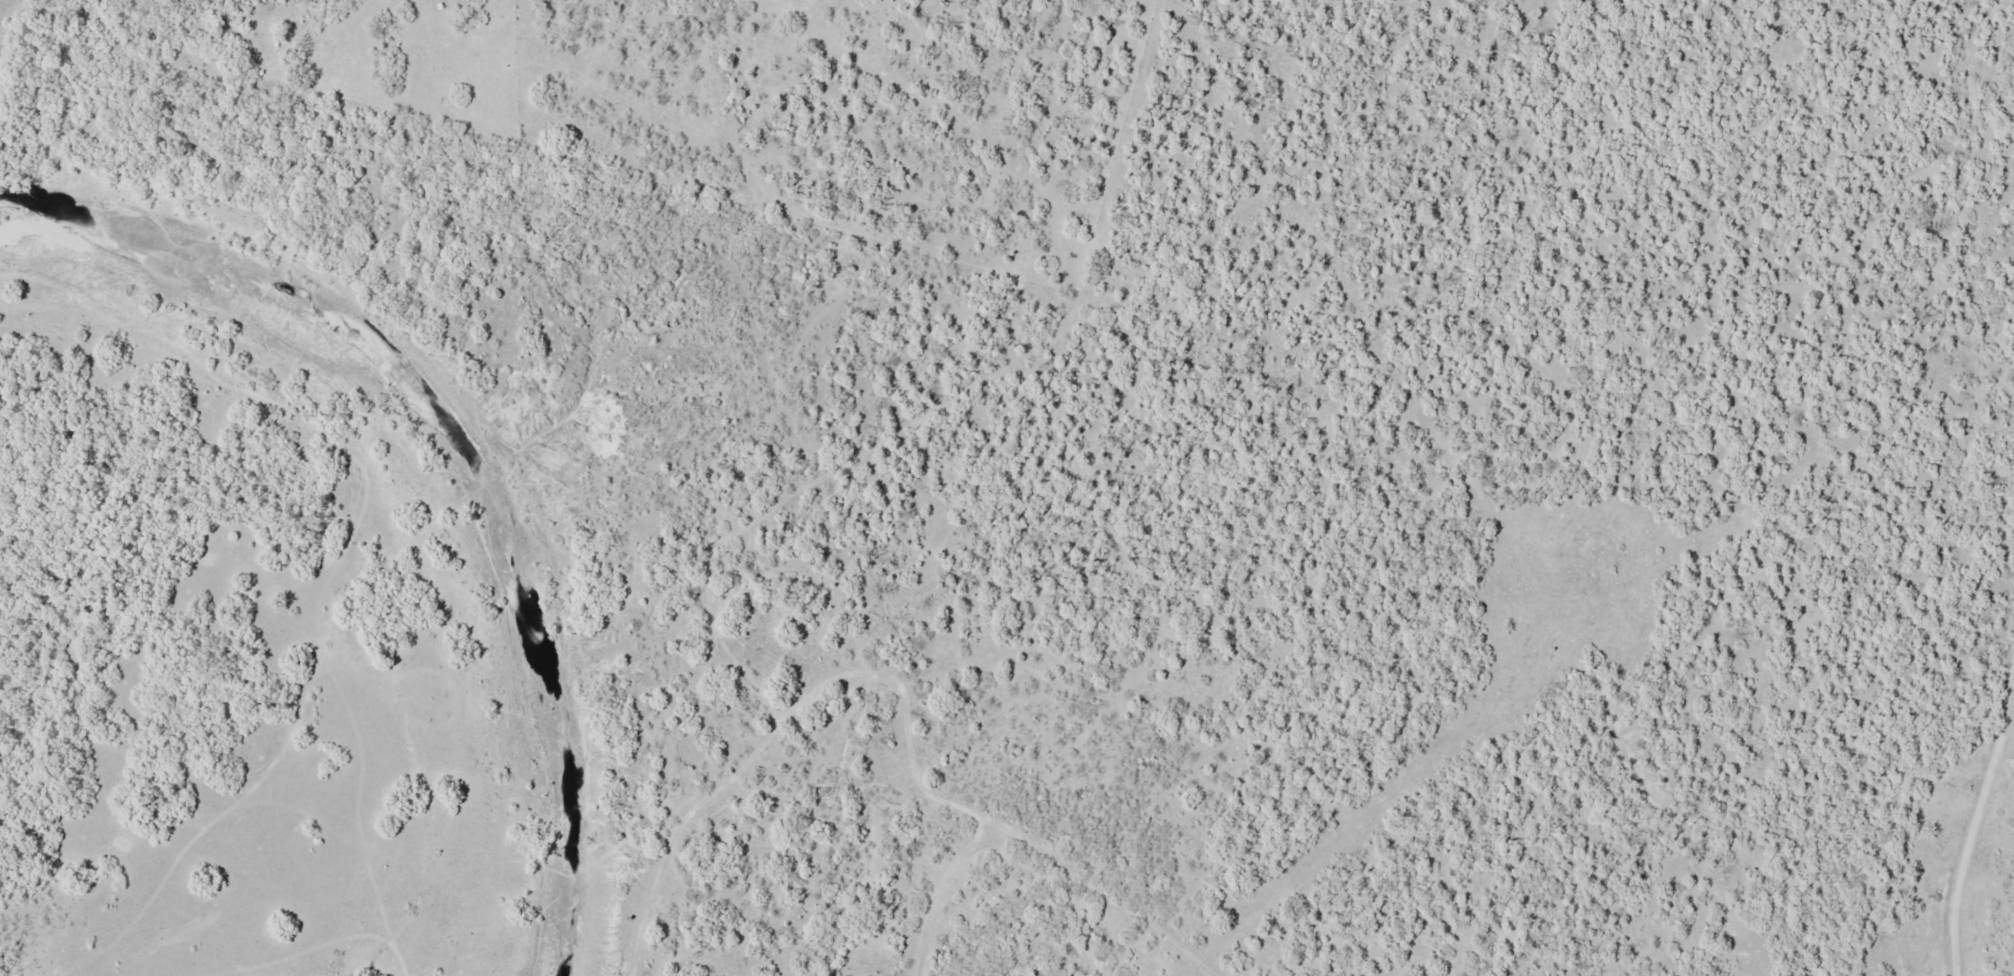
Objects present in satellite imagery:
road: (888, 790)
road: (1979, 828)

